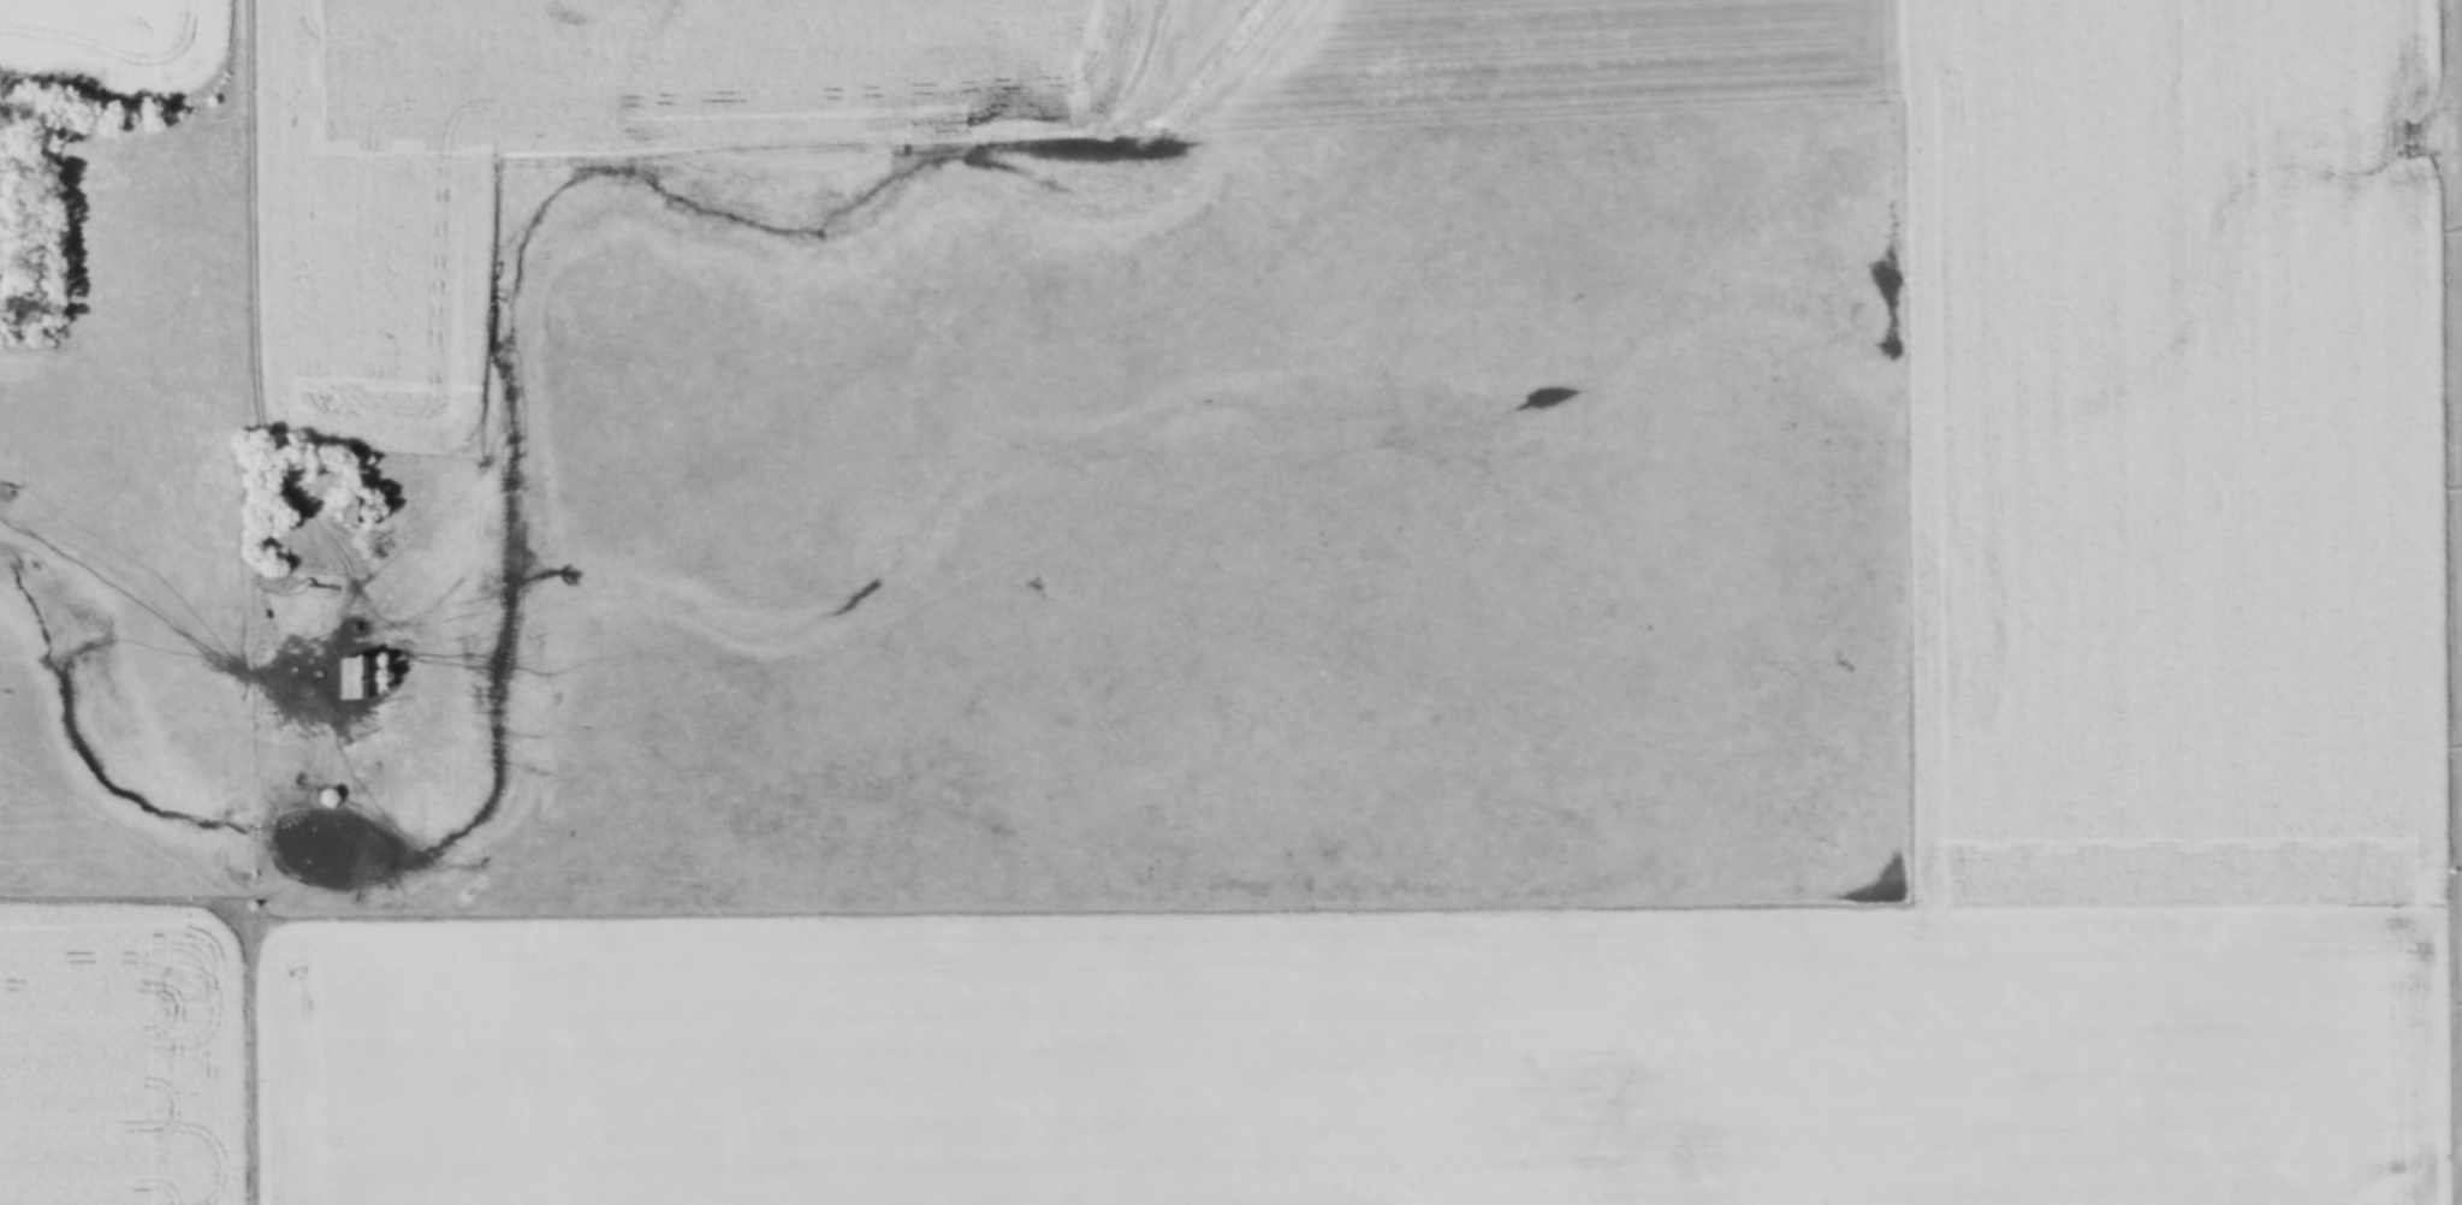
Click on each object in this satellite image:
road: (254, 251)
building: (356, 510)
building: (355, 678)

